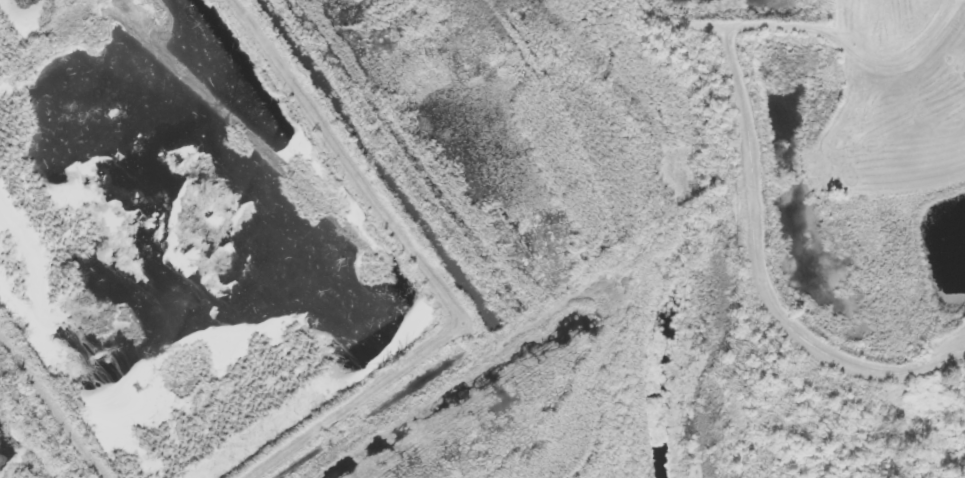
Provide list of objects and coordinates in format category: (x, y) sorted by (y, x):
road: (740, 141)

